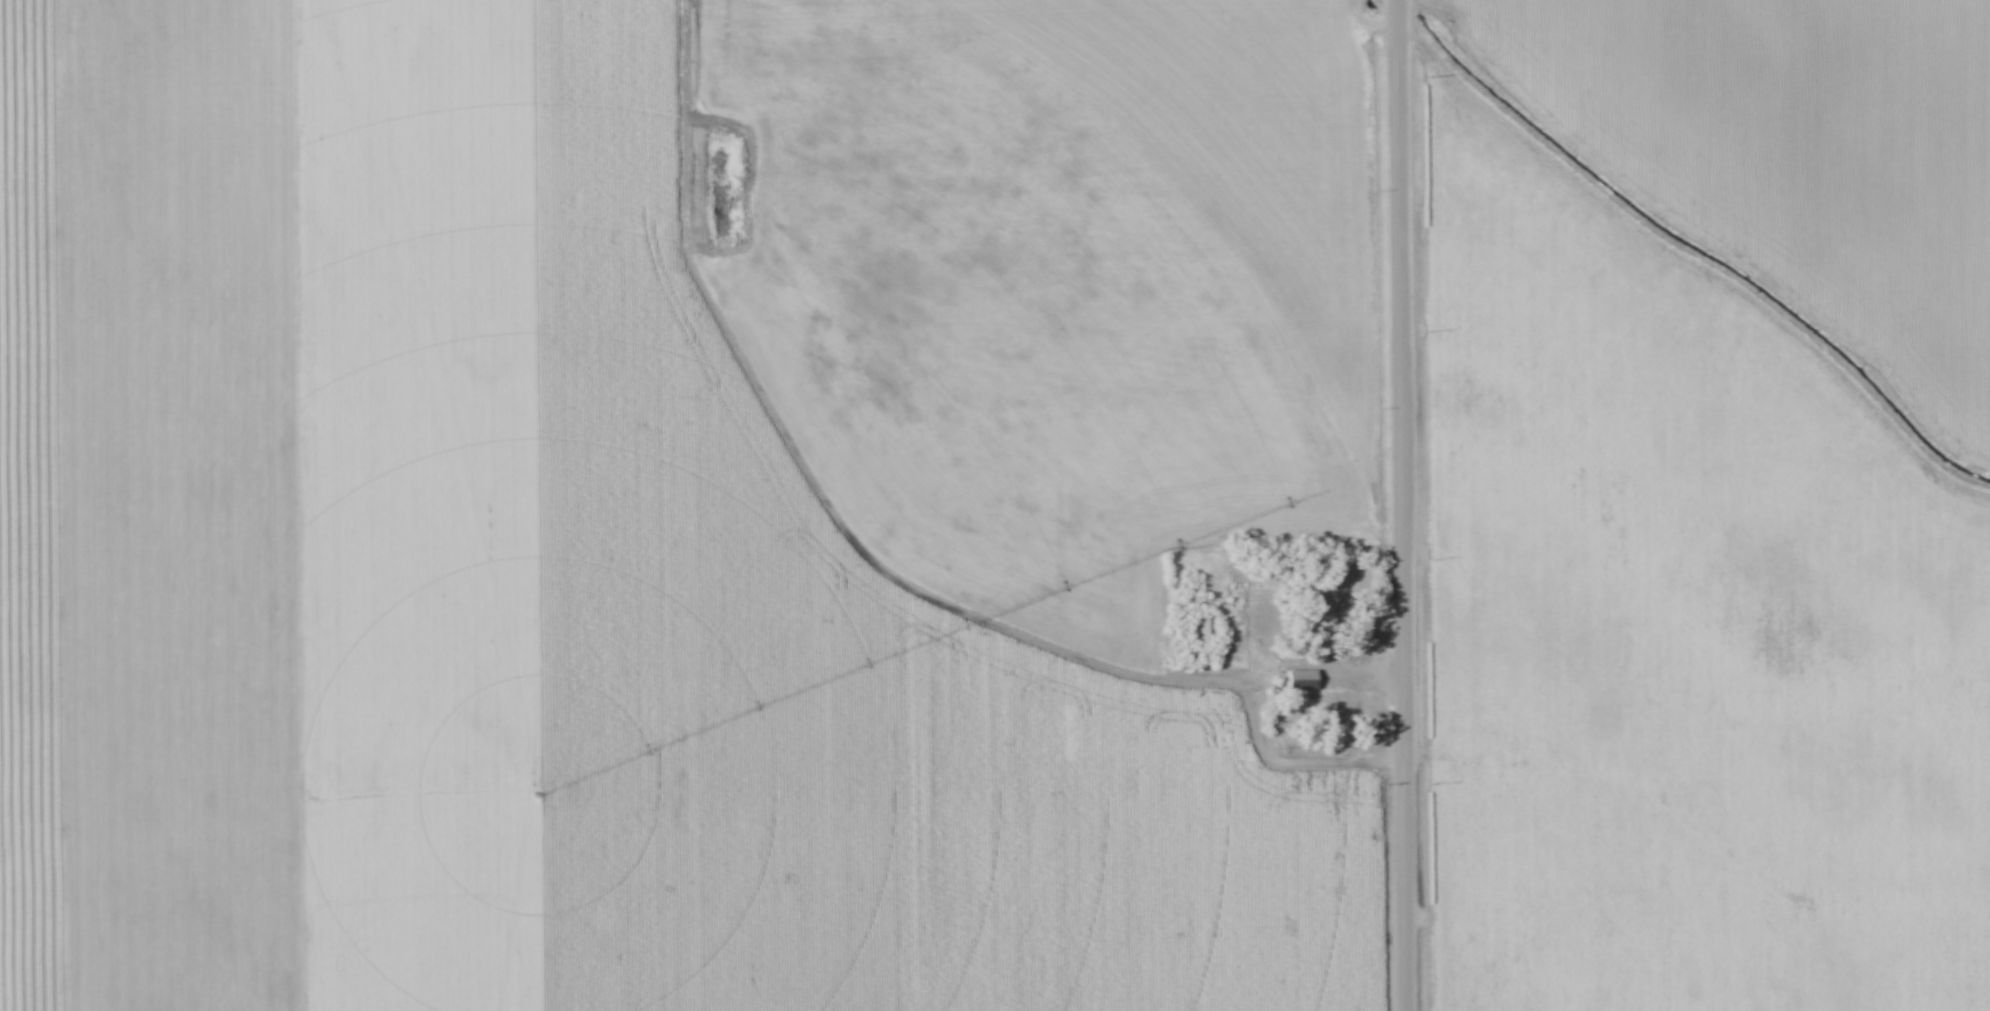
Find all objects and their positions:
crop: (1799, 155)
crop: (667, 502)
road: (1400, 505)
building: (1317, 621)
building: (1195, 626)
crop: (1679, 636)
road: (1340, 663)
building: (1300, 680)

